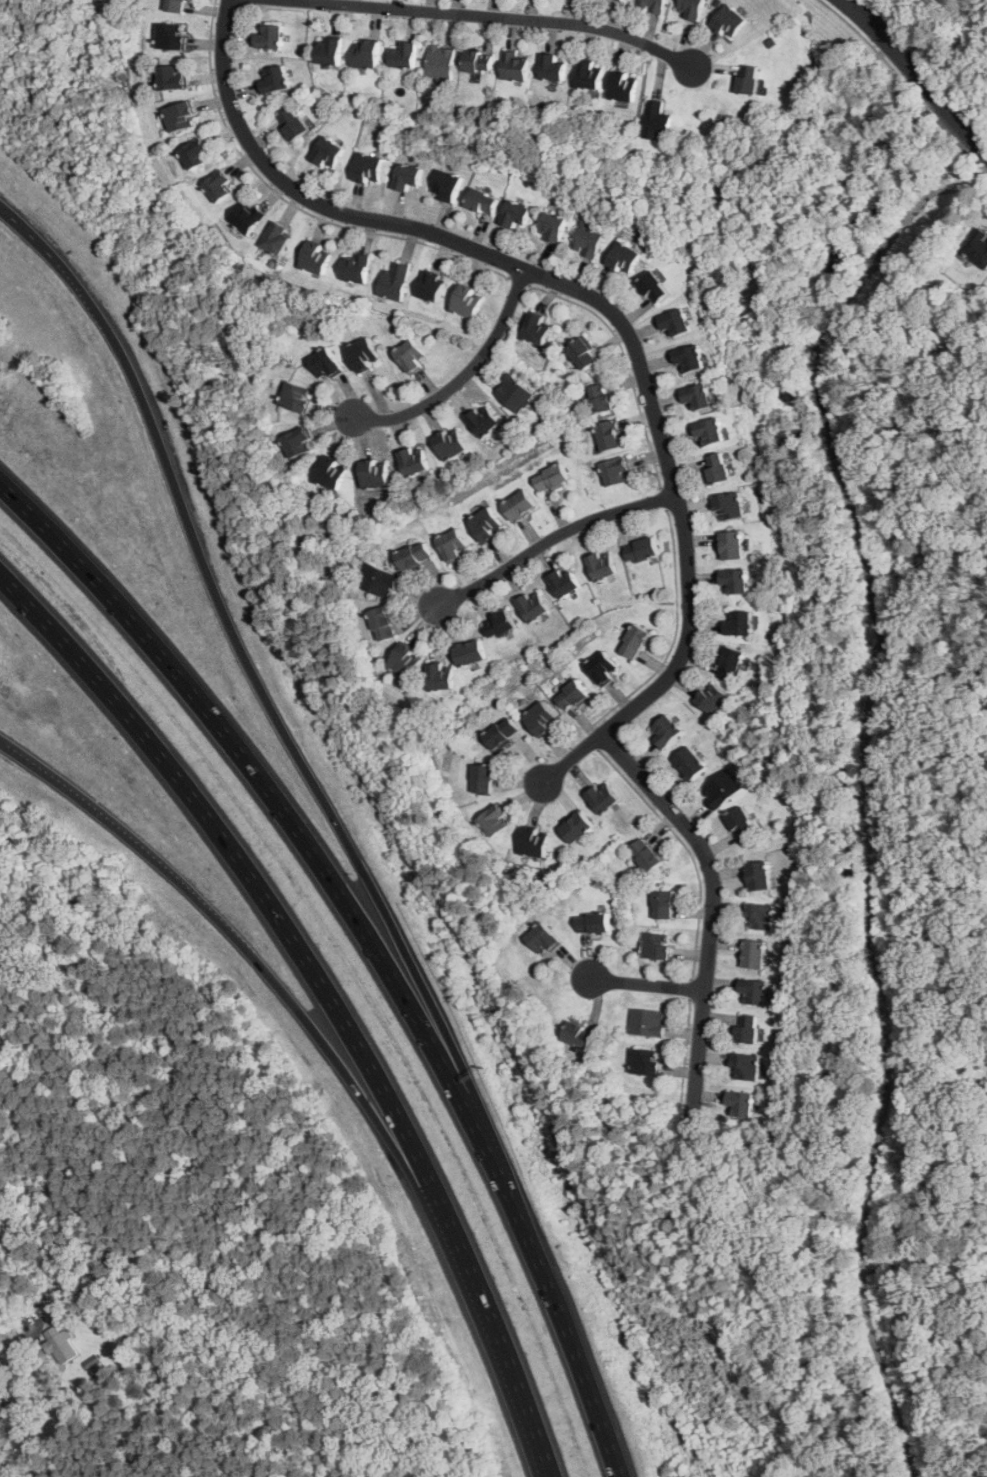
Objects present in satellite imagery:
building: (622, 0)
building: (176, 5)
building: (652, 5)
building: (692, 9)
road: (498, 16)
building: (730, 22)
building: (270, 35)
building: (172, 36)
road: (895, 47)
building: (328, 50)
building: (366, 52)
road: (881, 53)
building: (404, 55)
building: (478, 60)
building: (441, 62)
building: (515, 66)
building: (552, 67)
building: (589, 74)
building: (173, 76)
building: (275, 78)
building: (748, 79)
building: (624, 86)
building: (180, 116)
road: (960, 120)
building: (657, 121)
building: (292, 124)
road: (952, 132)
road: (983, 145)
building: (328, 152)
building: (196, 154)
road: (978, 162)
building: (368, 167)
building: (407, 176)
building: (218, 185)
building: (446, 185)
building: (483, 201)
road: (290, 203)
building: (516, 213)
building: (246, 218)
building: (554, 227)
building: (588, 239)
building: (276, 241)
building: (978, 247)
building: (315, 257)
building: (624, 257)
building: (355, 268)
road: (519, 280)
building: (394, 281)
building: (432, 286)
building: (653, 287)
building: (468, 301)
road: (613, 307)
building: (675, 322)
building: (538, 329)
building: (582, 353)
building: (363, 354)
building: (411, 356)
building: (689, 358)
road: (626, 360)
building: (325, 363)
road: (465, 374)
building: (514, 393)
building: (697, 396)
building: (296, 397)
building: (600, 398)
building: (483, 419)
building: (709, 431)
building: (609, 435)
building: (297, 442)
building: (450, 443)
building: (413, 461)
building: (717, 468)
building: (615, 471)
building: (331, 473)
building: (375, 473)
building: (551, 478)
road: (664, 497)
building: (521, 505)
building: (729, 506)
building: (486, 524)
road: (554, 541)
building: (453, 545)
building: (732, 545)
building: (642, 550)
building: (414, 555)
building: (602, 566)
building: (377, 580)
building: (735, 580)
building: (563, 583)
building: (534, 606)
building: (382, 623)
building: (739, 623)
building: (500, 624)
road: (673, 633)
building: (634, 642)
building: (470, 652)
building: (405, 660)
building: (730, 663)
building: (602, 668)
road: (934, 673)
road: (258, 676)
building: (441, 677)
building: (574, 695)
building: (713, 699)
building: (541, 718)
building: (666, 731)
building: (502, 733)
building: (691, 763)
building: (483, 779)
building: (722, 789)
road: (865, 790)
building: (603, 798)
road: (280, 801)
building: (495, 821)
building: (740, 823)
building: (577, 828)
road: (132, 840)
building: (535, 842)
building: (646, 855)
building: (759, 876)
building: (664, 905)
road: (712, 905)
building: (760, 917)
building: (593, 923)
building: (543, 939)
building: (658, 947)
building: (754, 954)
road: (649, 983)
building: (753, 992)
road: (333, 993)
building: (647, 1023)
building: (747, 1029)
building: (579, 1035)
building: (646, 1062)
building: (746, 1067)
building: (741, 1103)
road: (375, 1109)
road: (926, 1265)
road: (562, 1319)
building: (61, 1345)
road: (15, 1358)

